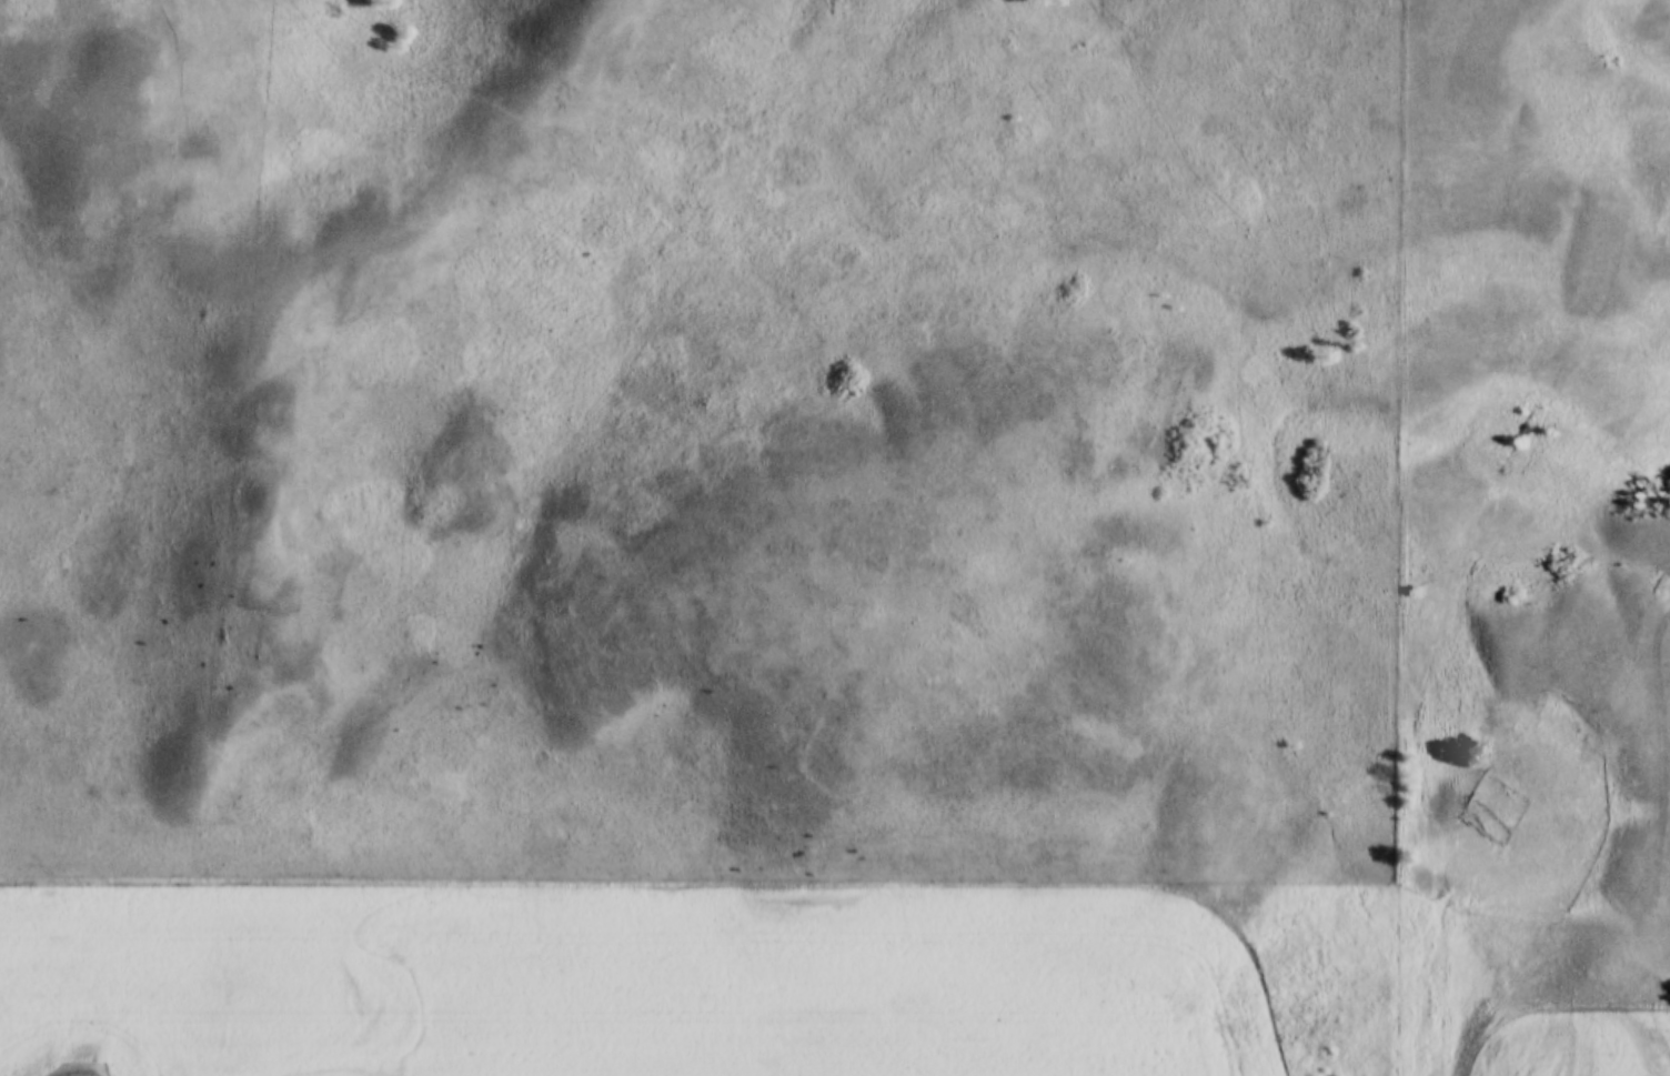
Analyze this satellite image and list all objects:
road: (1640, 879)

